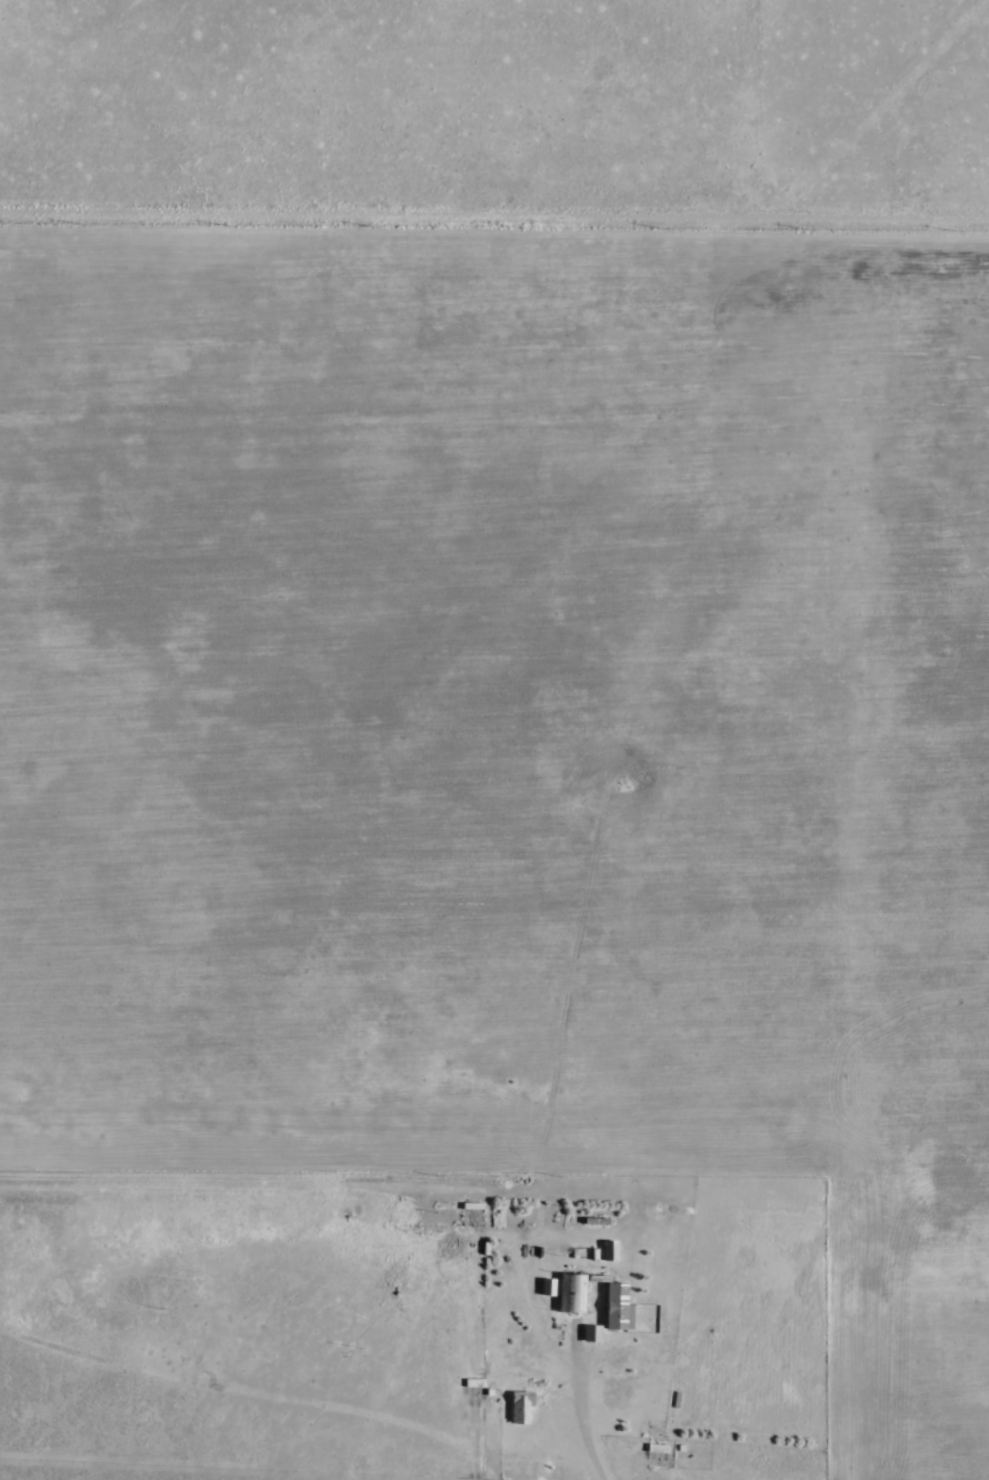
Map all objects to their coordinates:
building: (572, 1292)
road: (606, 1444)

